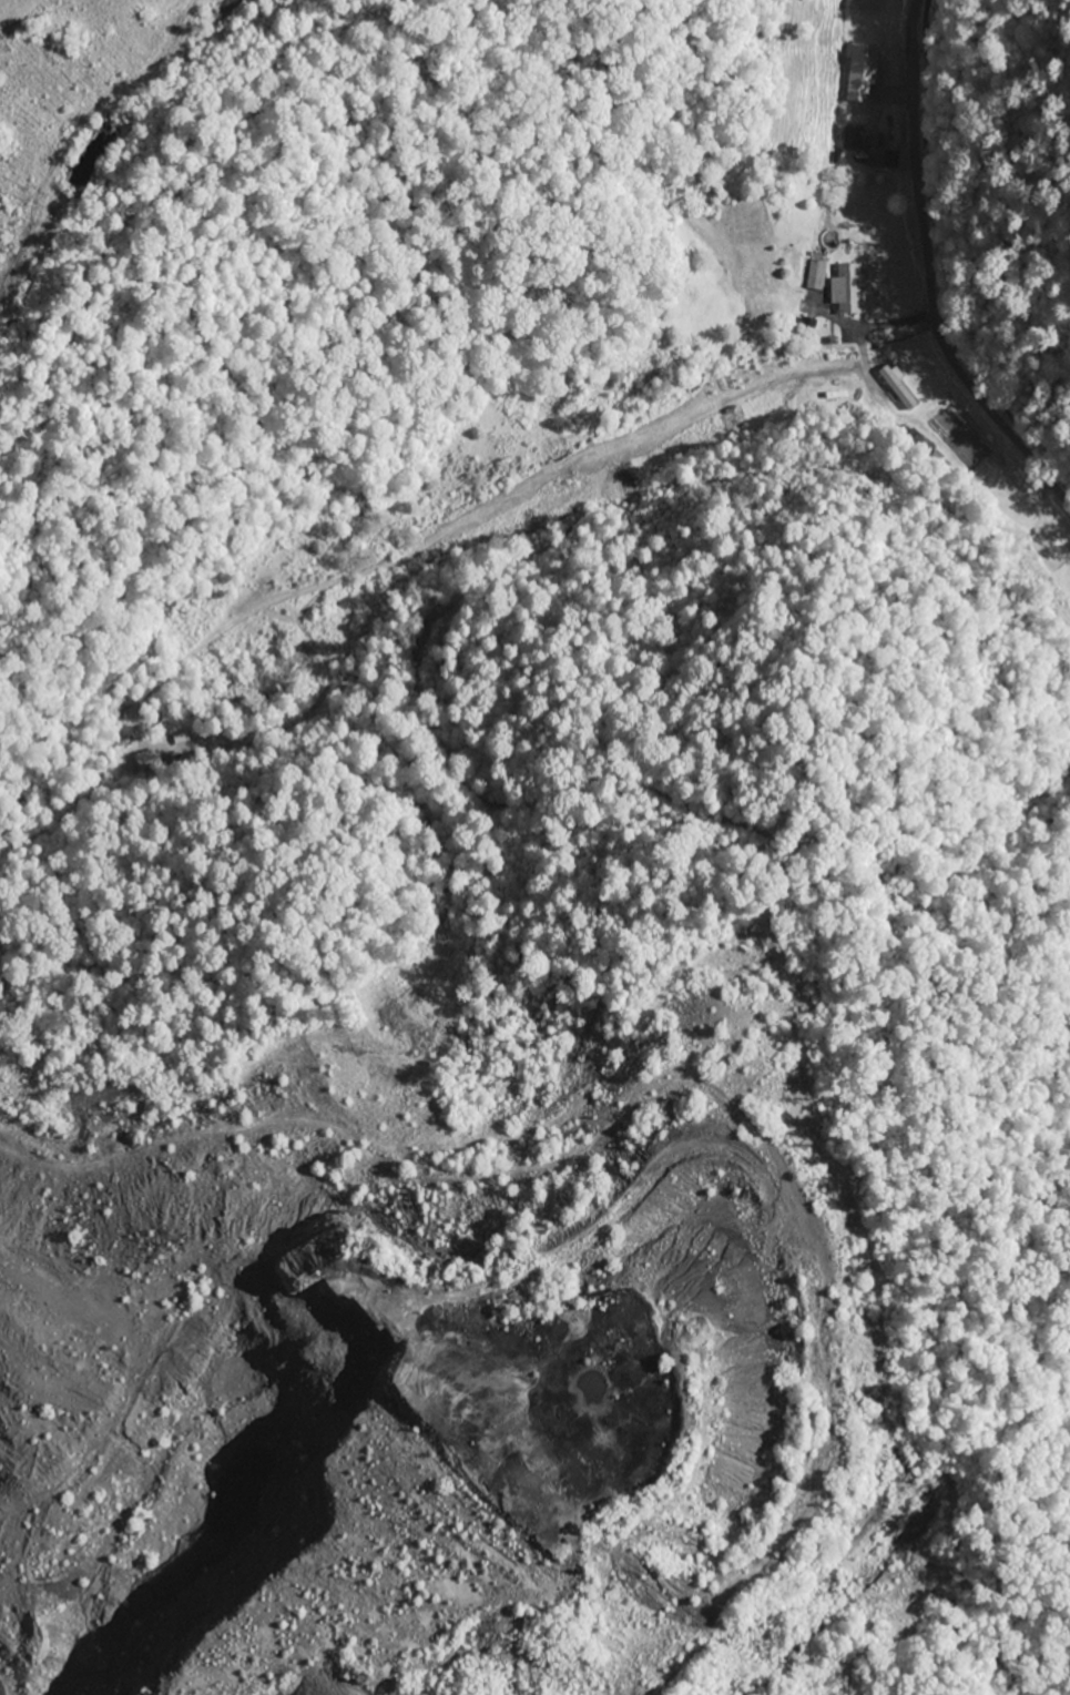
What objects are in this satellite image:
road: (914, 14)
building: (860, 72)
building: (852, 139)
building: (875, 158)
building: (815, 274)
building: (849, 287)
road: (930, 293)
building: (896, 388)

